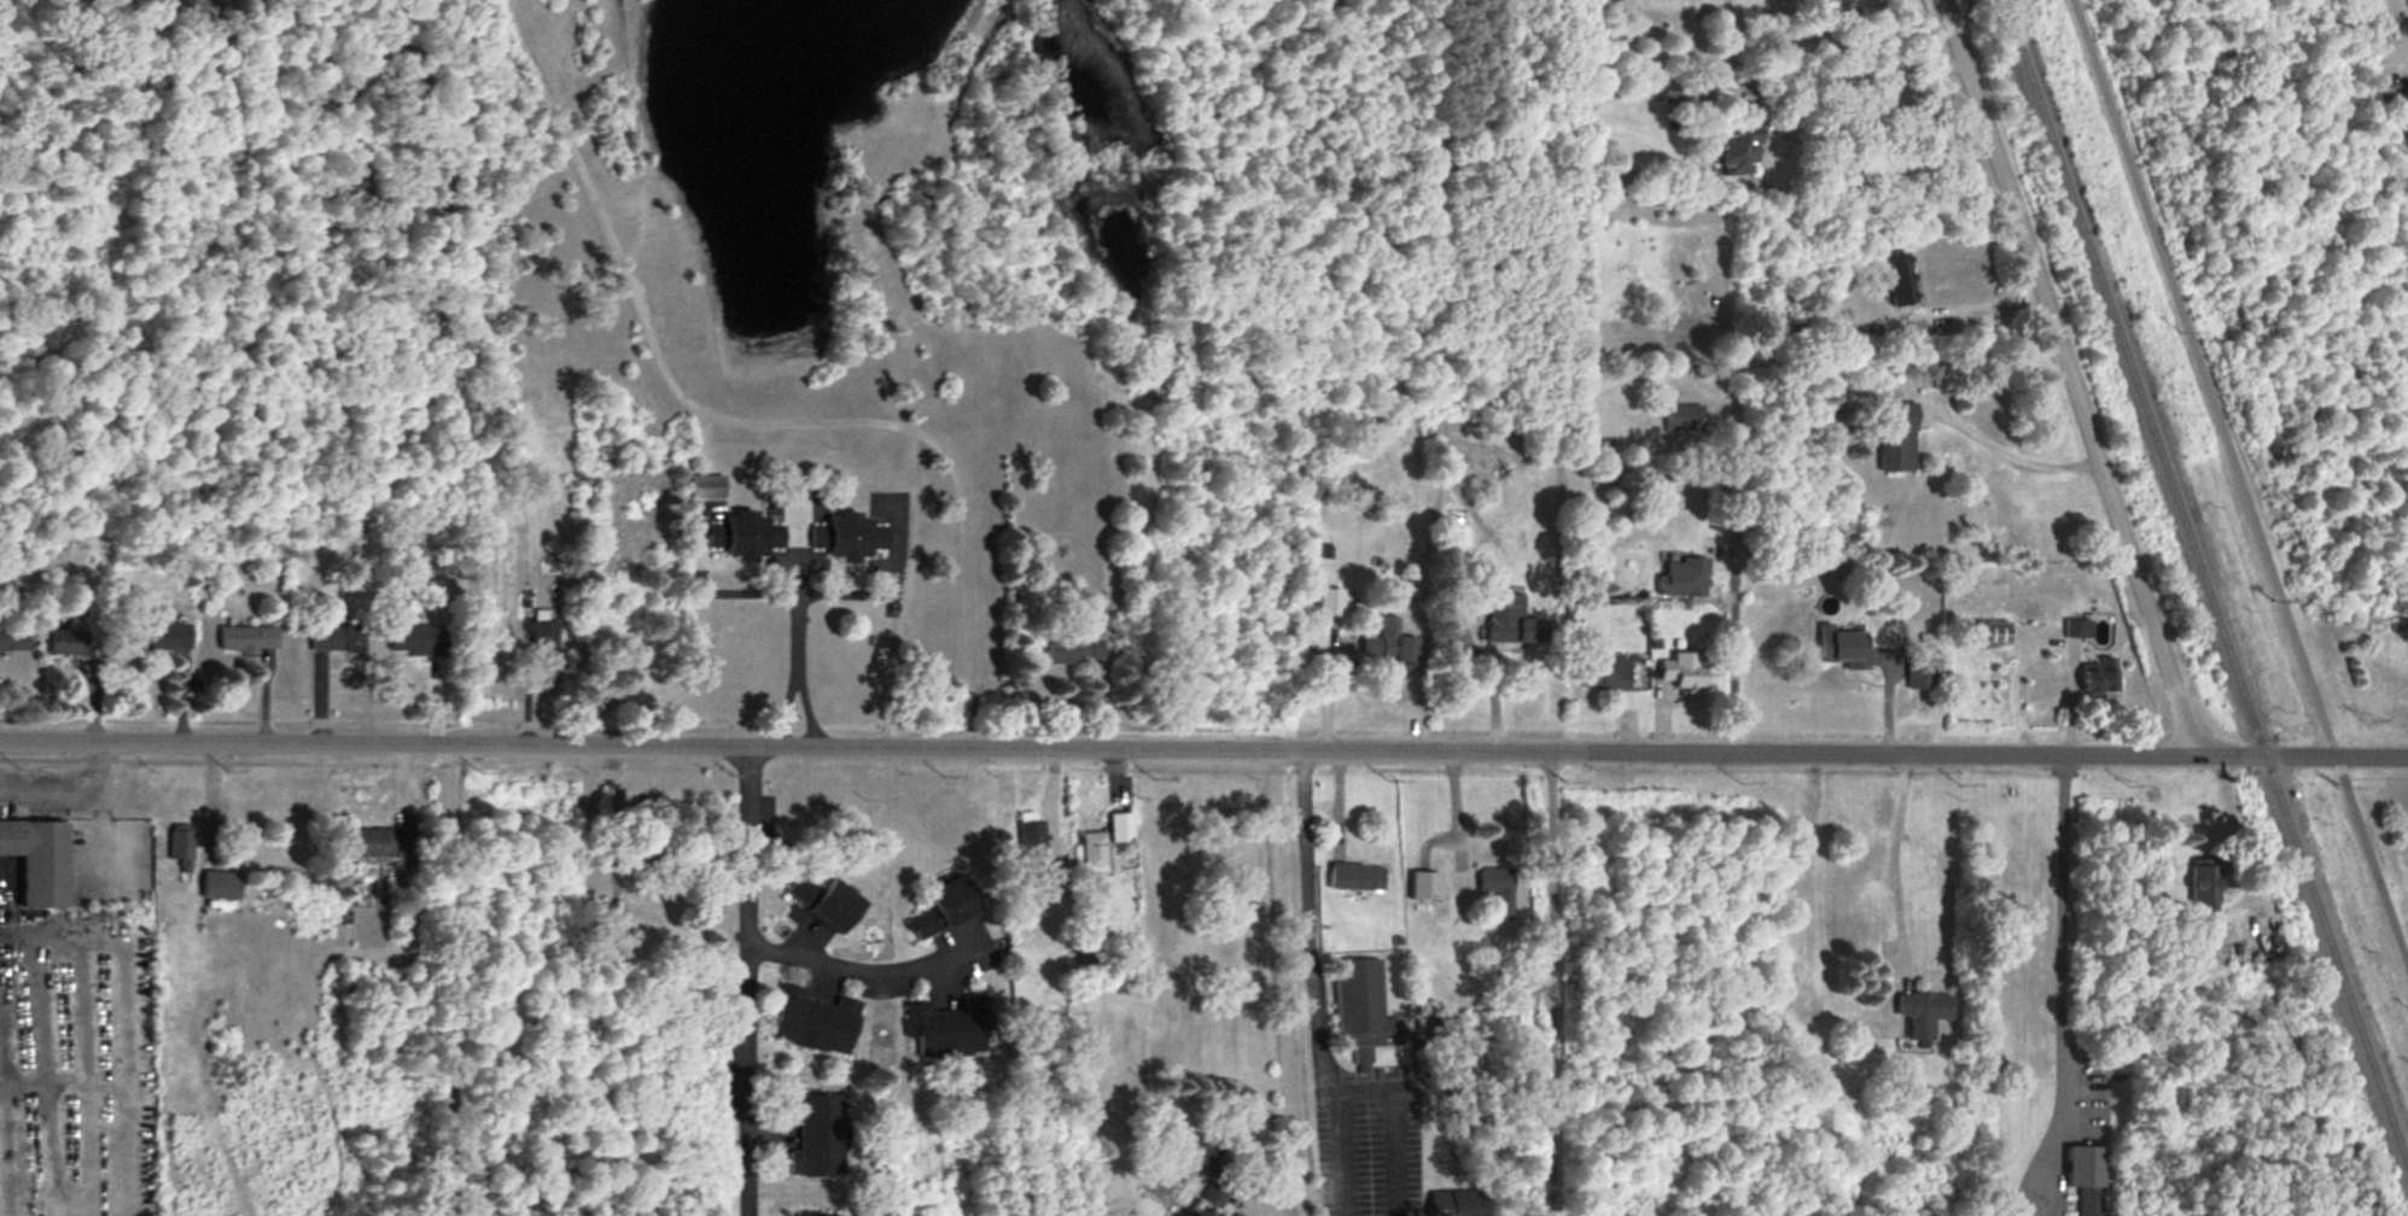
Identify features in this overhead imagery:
road: (2395, 55)
road: (1899, 78)
building: (1733, 152)
building: (1896, 279)
road: (2072, 376)
building: (1681, 419)
road: (744, 420)
building: (1895, 437)
road: (2016, 457)
road: (2240, 485)
building: (707, 489)
building: (746, 537)
building: (818, 538)
building: (856, 538)
building: (1680, 579)
railway: (2203, 579)
road: (798, 600)
building: (1509, 621)
building: (1990, 636)
building: (165, 637)
building: (337, 639)
building: (14, 641)
building: (249, 641)
building: (416, 641)
building: (69, 642)
building: (1841, 648)
building: (542, 649)
building: (1077, 649)
building: (1387, 649)
road: (1733, 666)
building: (1681, 671)
building: (1919, 674)
building: (1607, 677)
building: (2098, 678)
road: (779, 712)
road: (810, 712)
road: (1203, 749)
building: (1124, 828)
building: (1032, 837)
building: (384, 843)
building: (182, 846)
building: (1096, 853)
building: (40, 860)
road: (1895, 866)
building: (1358, 877)
building: (222, 885)
building: (1423, 885)
building: (2204, 885)
building: (1497, 889)
building: (829, 902)
building: (948, 908)
building: (618, 912)
road: (864, 967)
road: (747, 982)
road: (450, 983)
road: (1300, 983)
road: (1553, 983)
road: (2062, 989)
building: (1365, 1011)
building: (1922, 1013)
building: (817, 1022)
building: (950, 1028)
building: (1442, 1030)
building: (1825, 1118)
building: (820, 1135)
building: (1211, 1168)
building: (2083, 1179)
building: (1460, 1204)

